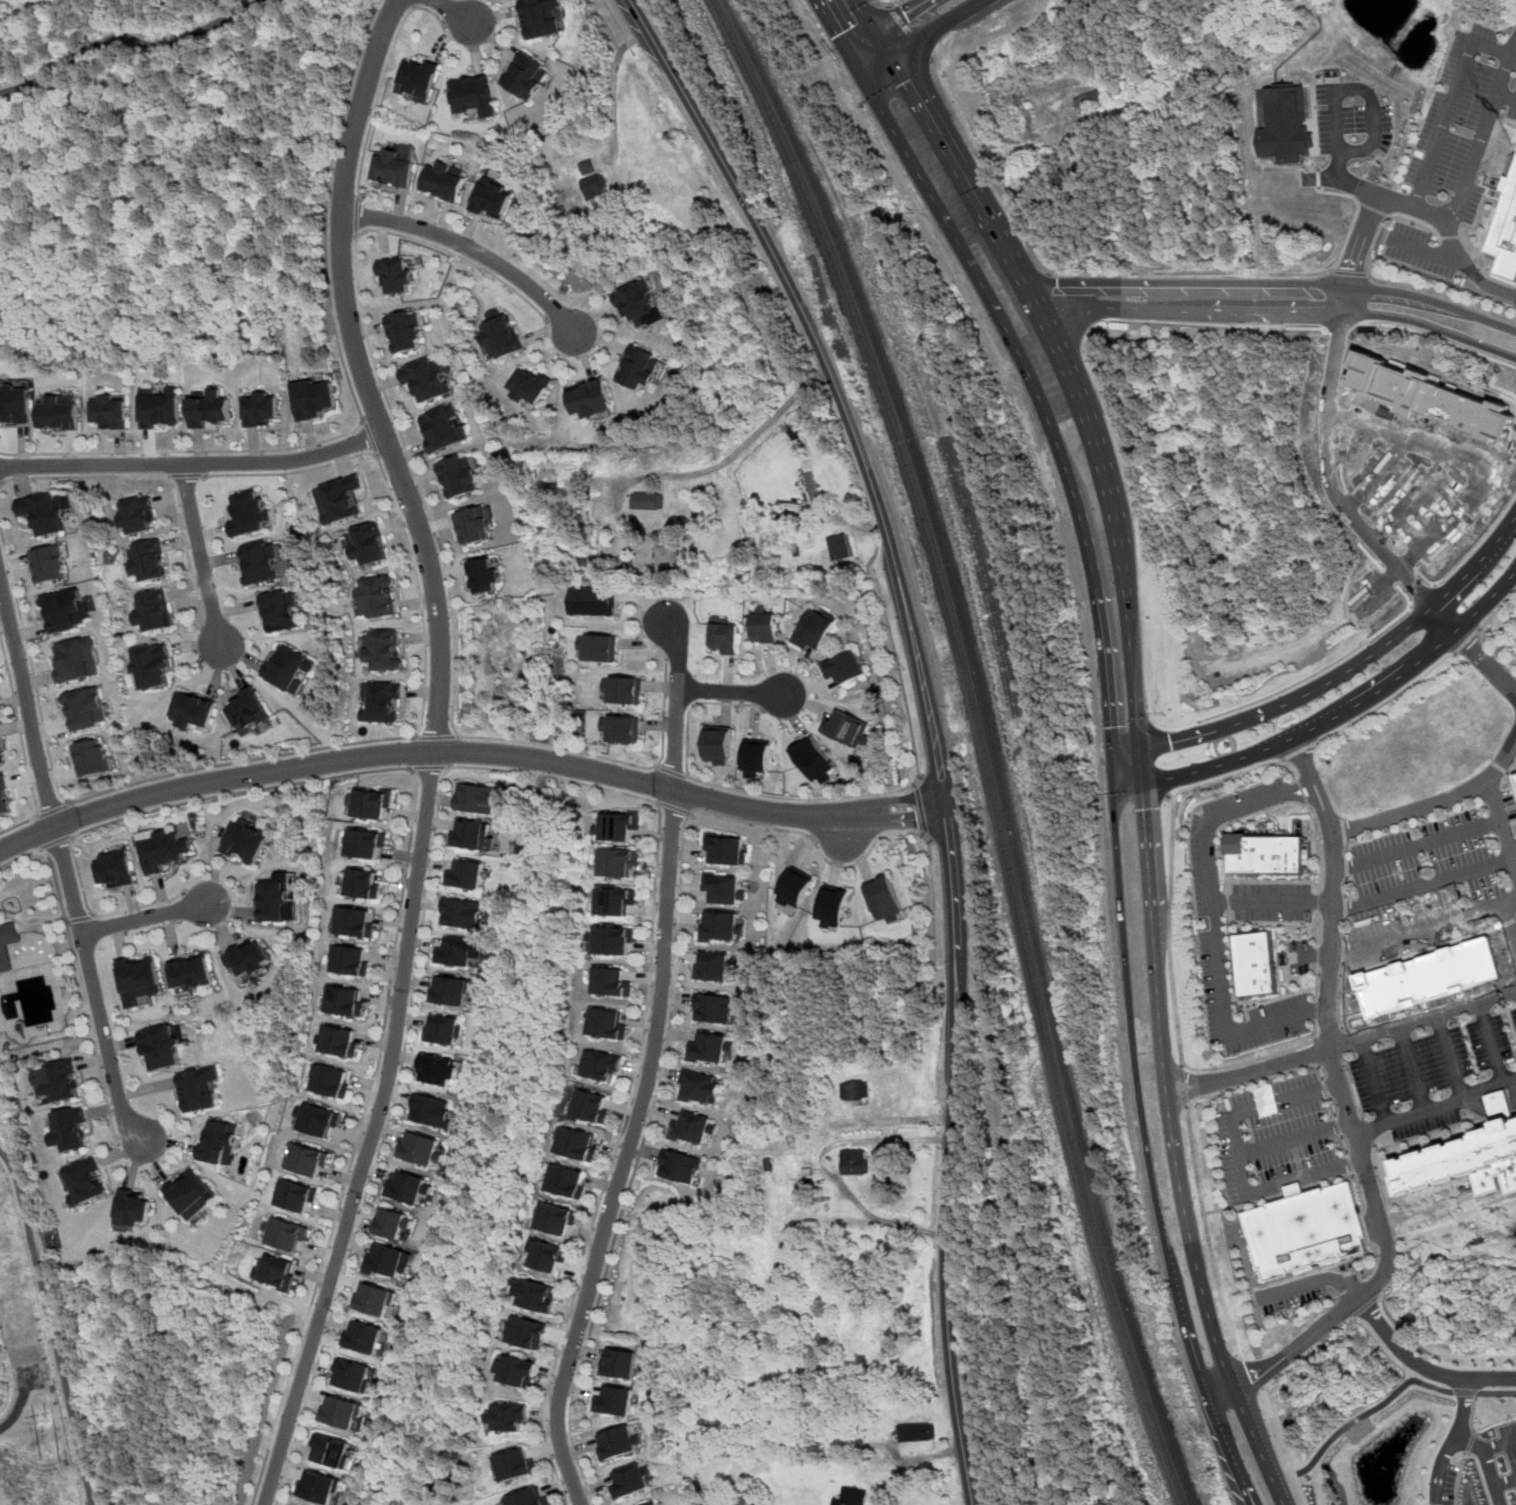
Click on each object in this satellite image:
road: (416, 4)
road: (880, 4)
road: (450, 11)
traffic signals: (904, 14)
road: (864, 15)
road: (900, 15)
building: (536, 18)
road: (618, 27)
road: (938, 28)
road: (836, 30)
road: (911, 33)
traffic signals: (839, 35)
road: (129, 37)
road: (881, 44)
road: (864, 45)
road: (1513, 47)
road: (1513, 52)
road: (871, 58)
road: (384, 73)
building: (519, 75)
building: (414, 78)
traffic signals: (904, 83)
road: (613, 91)
road: (1336, 94)
building: (470, 95)
road: (1449, 104)
parking lot: (1353, 120)
parking lot: (1464, 121)
building: (1285, 125)
building: (389, 168)
road: (986, 169)
road: (957, 173)
building: (439, 181)
building: (592, 183)
building: (486, 199)
road: (1458, 199)
road: (1355, 216)
road: (356, 217)
building: (1505, 231)
road: (1362, 238)
road: (1424, 249)
road: (473, 251)
parking lot: (1441, 260)
road: (1349, 273)
road: (1231, 274)
building: (394, 275)
road: (1192, 281)
road: (1383, 282)
road: (1032, 291)
road: (1433, 302)
building: (633, 305)
road: (1101, 307)
road: (1255, 310)
road: (1400, 326)
road: (1218, 327)
road: (1430, 327)
building: (404, 332)
building: (495, 339)
road: (1494, 356)
building: (634, 371)
building: (425, 380)
building: (525, 389)
road: (350, 390)
road: (1037, 396)
building: (312, 399)
building: (585, 400)
building: (16, 404)
building: (209, 409)
building: (159, 410)
building: (260, 410)
building: (111, 412)
building: (60, 414)
building: (442, 429)
road: (369, 436)
road: (393, 456)
road: (731, 459)
road: (192, 463)
road: (164, 464)
road: (290, 472)
building: (459, 475)
road: (159, 476)
road: (183, 476)
building: (812, 487)
building: (335, 500)
building: (645, 501)
road: (1113, 510)
building: (246, 514)
building: (40, 516)
building: (133, 516)
road: (433, 522)
building: (473, 527)
road: (1480, 539)
building: (839, 547)
building: (361, 548)
road: (198, 551)
building: (664, 556)
building: (141, 563)
building: (259, 564)
building: (48, 565)
building: (484, 574)
railway: (986, 576)
building: (376, 598)
building: (593, 603)
building: (63, 612)
building: (277, 612)
building: (147, 613)
road: (1449, 620)
building: (761, 628)
building: (810, 632)
road: (1482, 633)
building: (723, 640)
road: (1468, 641)
building: (599, 648)
building: (378, 653)
building: (75, 661)
road: (1488, 662)
road: (1349, 667)
road: (1415, 667)
building: (145, 668)
building: (843, 670)
building: (285, 671)
road: (900, 676)
road: (1296, 684)
building: (625, 690)
road: (733, 692)
road: (1388, 702)
building: (376, 705)
building: (86, 709)
building: (242, 713)
building: (188, 714)
road: (931, 721)
traffic signals: (1112, 727)
building: (623, 728)
building: (848, 729)
road: (436, 737)
railway: (981, 741)
railway: (991, 741)
traffic signals: (1170, 744)
building: (718, 746)
road: (25, 747)
road: (433, 750)
road: (469, 752)
road: (1300, 752)
road: (1300, 755)
building: (756, 757)
building: (0, 758)
building: (93, 758)
road: (1127, 758)
building: (815, 760)
road: (244, 761)
road: (1220, 764)
road: (1141, 765)
road: (429, 767)
road: (672, 772)
road: (1238, 773)
road: (535, 774)
road: (1307, 775)
road: (1128, 776)
building: (1515, 778)
road: (1296, 785)
road: (732, 789)
road: (1308, 789)
road: (1320, 791)
road: (1299, 796)
building: (5, 798)
building: (475, 798)
building: (375, 803)
road: (1434, 805)
road: (674, 807)
road: (54, 809)
road: (1268, 809)
road: (1316, 809)
traffic signals: (1144, 810)
road: (921, 811)
road: (1315, 825)
road: (1328, 826)
building: (625, 828)
road: (1503, 828)
building: (475, 836)
building: (251, 840)
road: (55, 842)
building: (369, 843)
road: (1419, 846)
building: (169, 850)
building: (722, 854)
building: (1265, 854)
road: (19, 858)
building: (625, 863)
road: (1320, 863)
road: (64, 866)
building: (122, 870)
building: (472, 875)
road: (403, 882)
parking lot: (1433, 883)
building: (367, 884)
building: (794, 887)
road: (1423, 887)
building: (720, 892)
building: (884, 899)
building: (280, 901)
road: (1318, 901)
road: (1274, 902)
building: (626, 903)
building: (833, 905)
building: (467, 914)
parking lot: (1273, 915)
road: (144, 918)
road: (1509, 918)
road: (79, 919)
building: (358, 922)
road: (1318, 927)
road: (1344, 929)
building: (716, 930)
road: (1419, 931)
road: (1170, 933)
road: (1217, 937)
building: (624, 941)
building: (9, 947)
road: (1343, 950)
road: (1419, 951)
building: (463, 952)
road: (1318, 954)
road: (1310, 955)
building: (256, 959)
building: (354, 960)
building: (1256, 964)
road: (674, 968)
building: (711, 971)
building: (197, 972)
road: (1328, 975)
building: (139, 978)
building: (1430, 979)
road: (1317, 981)
building: (619, 983)
building: (458, 992)
road: (1341, 995)
road: (83, 1002)
building: (350, 1003)
road: (1317, 1010)
building: (709, 1011)
building: (613, 1025)
building: (448, 1032)
road: (1363, 1040)
building: (343, 1042)
road: (1494, 1045)
building: (162, 1046)
building: (708, 1051)
road: (1258, 1057)
road: (1452, 1059)
building: (608, 1064)
parking lot: (1433, 1064)
road: (648, 1068)
building: (444, 1071)
road: (1413, 1071)
road: (1184, 1079)
road: (1257, 1081)
building: (66, 1082)
building: (333, 1082)
road: (1375, 1083)
road: (1182, 1086)
road: (1164, 1087)
building: (204, 1091)
building: (853, 1091)
building: (696, 1092)
road: (1187, 1096)
building: (598, 1108)
road: (1492, 1108)
road: (1435, 1109)
building: (436, 1112)
building: (324, 1122)
building: (74, 1132)
building: (689, 1133)
parking lot: (1273, 1136)
road: (1295, 1139)
road: (1147, 1143)
building: (227, 1145)
building: (584, 1145)
building: (421, 1148)
road: (1241, 1159)
building: (1467, 1159)
building: (310, 1163)
building: (854, 1164)
road: (1362, 1165)
road: (825, 1168)
building: (677, 1172)
building: (578, 1183)
building: (89, 1184)
building: (1295, 1189)
building: (415, 1190)
road: (1296, 1190)
building: (193, 1196)
building: (300, 1198)
building: (135, 1212)
building: (565, 1222)
building: (402, 1225)
building: (1306, 1230)
road: (1207, 1232)
building: (288, 1237)
road: (1449, 1249)
building: (557, 1260)
building: (394, 1264)
road: (1397, 1269)
building: (279, 1274)
road: (1313, 1281)
parking lot: (1299, 1291)
building: (544, 1299)
building: (376, 1300)
road: (1368, 1307)
road: (1343, 1325)
road: (51, 1326)
building: (535, 1334)
building: (371, 1341)
road: (1423, 1367)
building: (615, 1370)
building: (526, 1375)
road: (1246, 1376)
building: (359, 1378)
road: (1467, 1393)
road: (1498, 1393)
building: (609, 1404)
road: (16, 1413)
building: (344, 1413)
road: (1368, 1413)
road: (1474, 1413)
building: (514, 1420)
power tower: (43, 1422)
building: (916, 1435)
road: (1454, 1442)
parking lot: (1510, 1442)
road: (1261, 1443)
road: (1472, 1443)
building: (611, 1445)
road: (1500, 1446)
road: (1283, 1447)
building: (338, 1454)
road: (1464, 1454)
road: (1490, 1462)
building: (522, 1469)
parking lot: (1443, 1483)
building: (627, 1484)
road: (1506, 1484)
building: (321, 1488)
building: (742, 1494)
building: (851, 1498)
building: (537, 1500)
building: (655, 1503)

